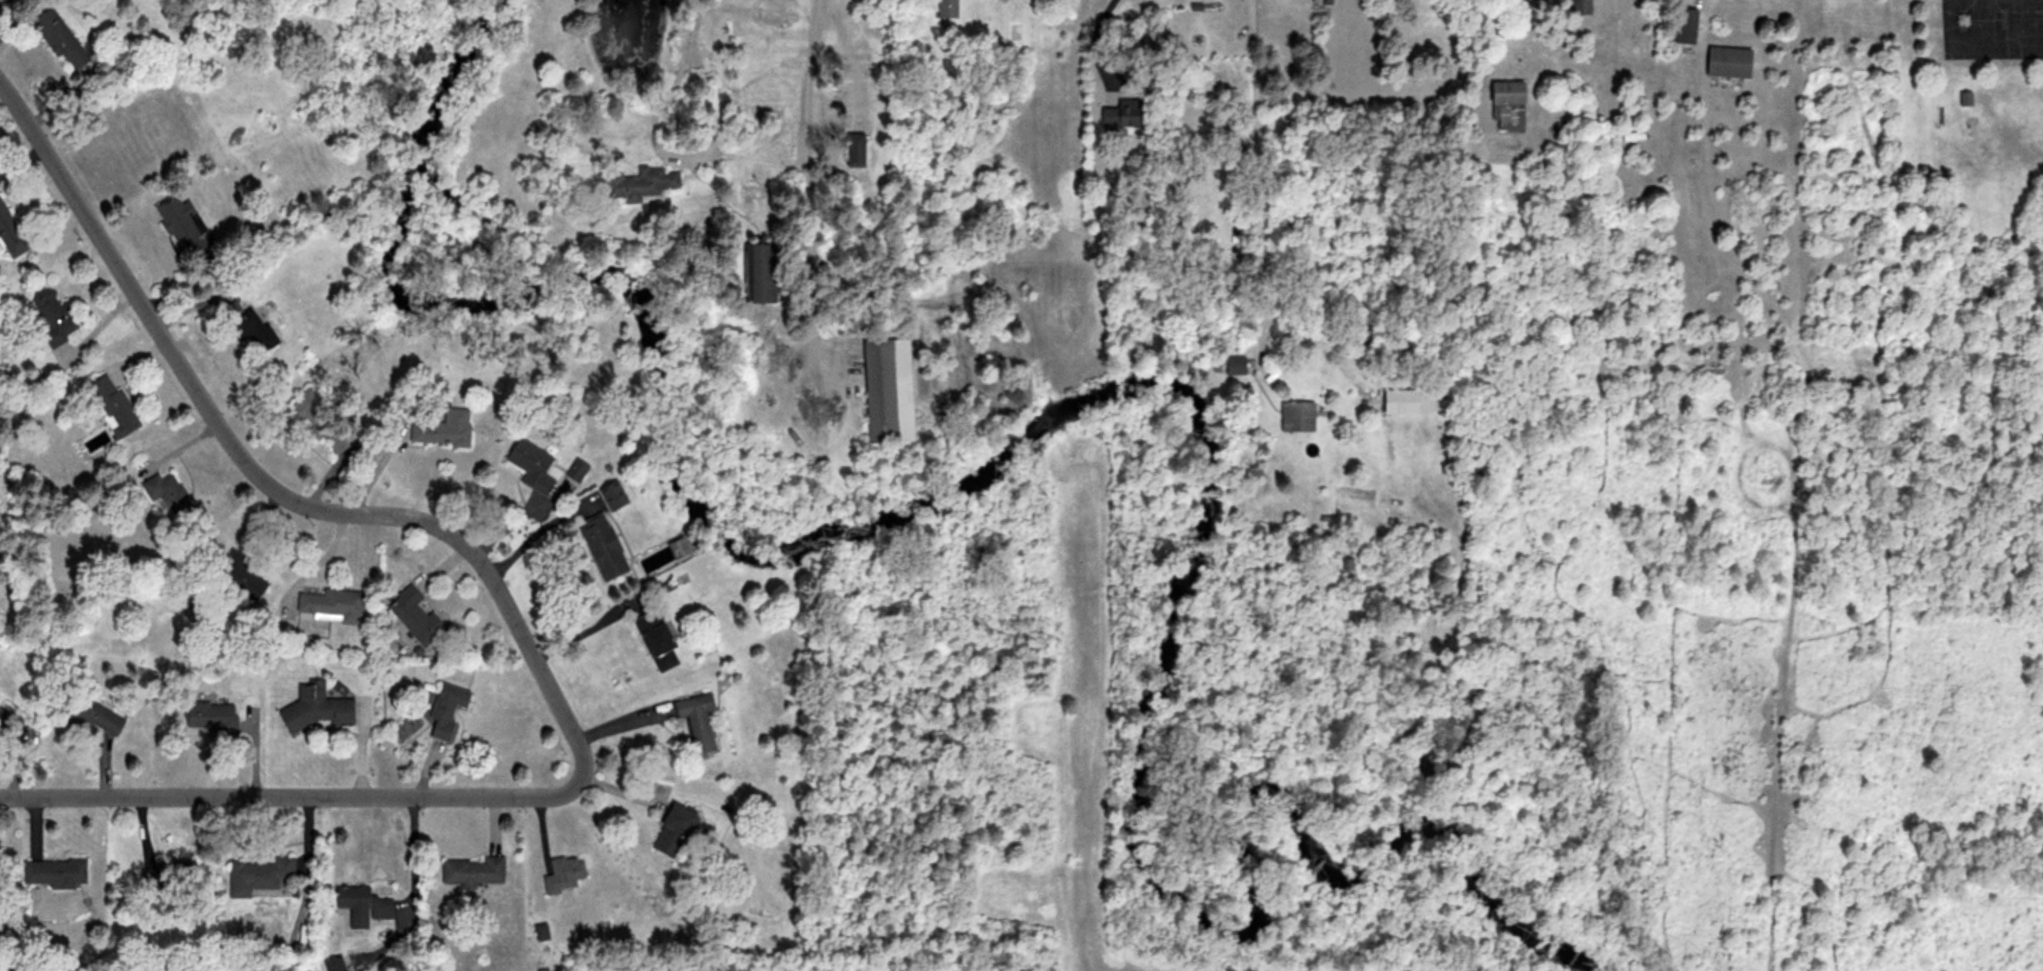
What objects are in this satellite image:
building: (3, 1)
building: (1578, 7)
building: (946, 9)
road: (687, 23)
building: (1684, 26)
building: (58, 39)
road: (1976, 39)
road: (1090, 45)
building: (1726, 61)
building: (1506, 106)
building: (1122, 114)
building: (772, 116)
road: (807, 145)
building: (854, 150)
road: (677, 155)
road: (1251, 161)
building: (637, 182)
building: (183, 229)
building: (10, 233)
building: (758, 272)
building: (51, 316)
road: (99, 323)
building: (250, 329)
building: (1233, 366)
building: (886, 391)
building: (112, 406)
building: (1296, 417)
building: (321, 422)
building: (441, 429)
building: (529, 465)
building: (575, 472)
building: (164, 493)
building: (611, 495)
road: (536, 533)
building: (601, 547)
road: (316, 557)
building: (1347, 565)
building: (238, 577)
road: (510, 603)
building: (330, 605)
building: (413, 617)
road: (587, 629)
building: (654, 641)
building: (314, 709)
building: (443, 710)
building: (86, 716)
building: (212, 717)
building: (695, 721)
building: (671, 832)
building: (471, 871)
building: (53, 872)
building: (166, 874)
building: (562, 874)
building: (257, 875)
building: (362, 906)

